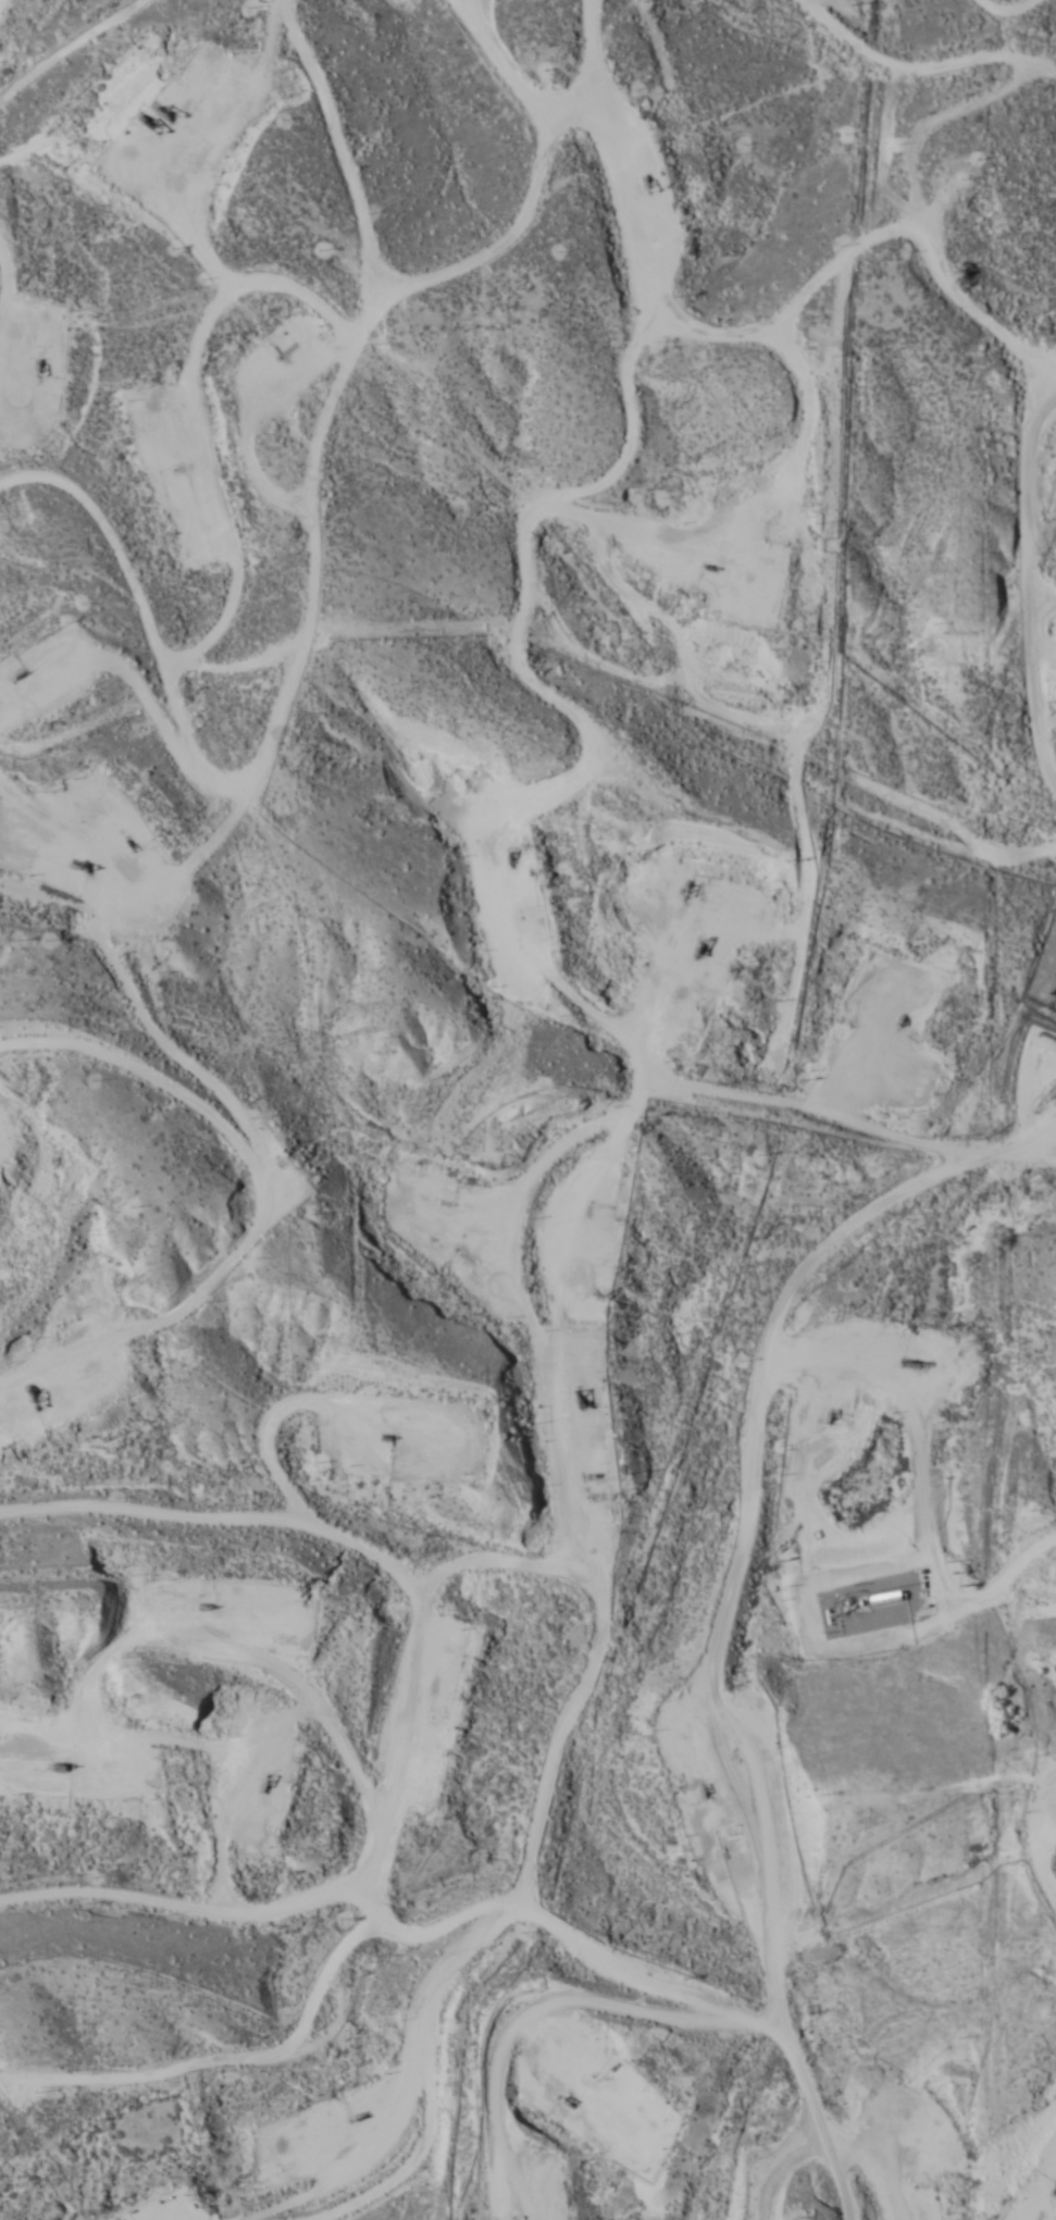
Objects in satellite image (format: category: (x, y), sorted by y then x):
road: (114, 30)
road: (316, 154)
road: (408, 306)
road: (1039, 654)
road: (548, 1217)
road: (798, 1279)
road: (531, 1712)
road: (348, 1840)

